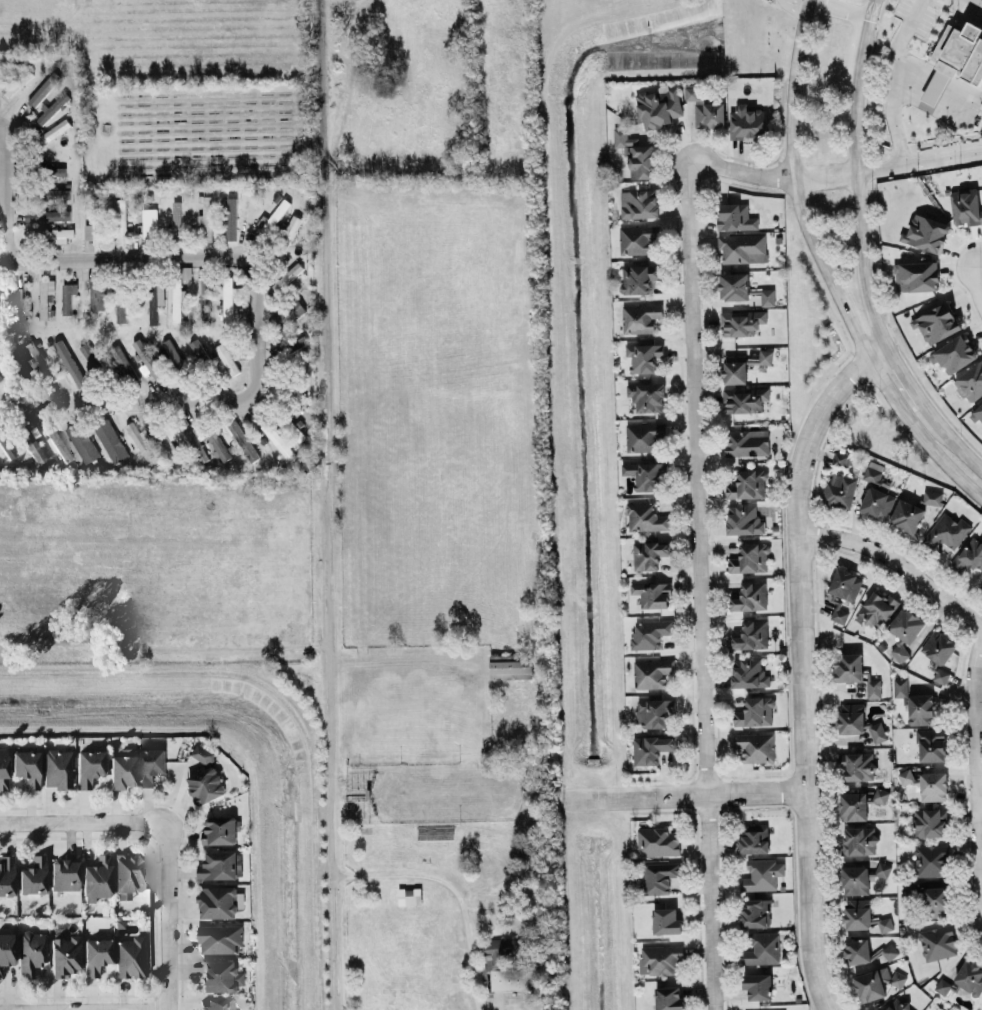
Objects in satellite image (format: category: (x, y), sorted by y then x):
road: (978, 1)
road: (838, 8)
road: (871, 8)
road: (860, 49)
building: (955, 59)
road: (913, 75)
road: (935, 86)
building: (43, 89)
road: (962, 99)
road: (893, 101)
building: (705, 106)
building: (659, 107)
building: (52, 108)
building: (747, 121)
building: (54, 130)
building: (635, 154)
road: (941, 156)
road: (9, 175)
building: (49, 193)
building: (639, 203)
building: (965, 206)
building: (48, 215)
building: (275, 215)
building: (735, 216)
road: (857, 216)
building: (206, 217)
building: (231, 218)
building: (176, 219)
building: (146, 220)
building: (121, 221)
building: (95, 223)
building: (290, 228)
building: (926, 233)
building: (48, 234)
building: (637, 239)
building: (742, 247)
road: (826, 271)
building: (286, 275)
building: (918, 276)
building: (638, 277)
road: (980, 282)
building: (734, 285)
building: (98, 295)
building: (46, 296)
building: (68, 296)
building: (767, 296)
building: (12, 297)
building: (228, 298)
building: (177, 301)
building: (154, 302)
building: (124, 304)
building: (287, 313)
road: (260, 315)
building: (640, 317)
building: (742, 322)
building: (936, 322)
building: (198, 350)
building: (955, 353)
building: (644, 356)
building: (761, 357)
building: (227, 358)
building: (91, 359)
building: (39, 362)
building: (70, 362)
building: (14, 364)
building: (734, 368)
building: (970, 382)
road: (908, 383)
building: (646, 396)
building: (745, 399)
building: (978, 412)
building: (644, 436)
building: (109, 439)
building: (139, 439)
building: (278, 440)
building: (82, 441)
building: (193, 441)
building: (746, 442)
building: (58, 444)
building: (32, 446)
road: (957, 446)
building: (840, 462)
building: (645, 474)
building: (747, 484)
building: (839, 490)
building: (876, 495)
building: (932, 497)
road: (695, 502)
road: (328, 504)
building: (906, 516)
building: (646, 517)
building: (744, 519)
building: (946, 531)
building: (649, 554)
building: (969, 555)
building: (750, 558)
road: (895, 563)
building: (845, 584)
building: (981, 586)
building: (652, 594)
building: (751, 596)
building: (878, 609)
building: (839, 611)
building: (906, 624)
building: (650, 633)
building: (751, 635)
road: (166, 646)
building: (938, 647)
building: (899, 651)
road: (801, 661)
road: (405, 665)
building: (510, 666)
building: (848, 667)
building: (652, 673)
building: (748, 673)
building: (900, 687)
building: (873, 688)
building: (920, 709)
building: (654, 711)
building: (755, 711)
building: (858, 721)
building: (931, 744)
building: (755, 746)
building: (651, 748)
building: (204, 753)
building: (151, 764)
building: (858, 765)
building: (88, 767)
building: (121, 767)
building: (26, 768)
building: (57, 768)
building: (3, 769)
building: (907, 777)
road: (974, 778)
building: (206, 785)
building: (933, 786)
road: (711, 794)
road: (593, 799)
building: (860, 801)
road: (85, 819)
building: (930, 822)
building: (220, 830)
building: (753, 838)
building: (859, 840)
building: (657, 841)
building: (931, 860)
building: (218, 865)
building: (127, 874)
building: (762, 874)
building: (6, 875)
building: (33, 876)
building: (97, 877)
building: (855, 879)
road: (454, 890)
building: (409, 896)
building: (218, 901)
building: (935, 901)
building: (756, 913)
road: (170, 914)
building: (864, 916)
building: (666, 921)
building: (220, 938)
building: (938, 942)
building: (499, 948)
building: (762, 948)
building: (6, 950)
building: (858, 950)
building: (889, 951)
building: (32, 952)
building: (64, 955)
building: (96, 955)
building: (130, 957)
building: (659, 959)
building: (219, 976)
building: (514, 979)
building: (963, 979)
building: (878, 983)
building: (758, 985)
building: (669, 998)
building: (218, 1004)
building: (898, 1005)
road: (120, 1009)

